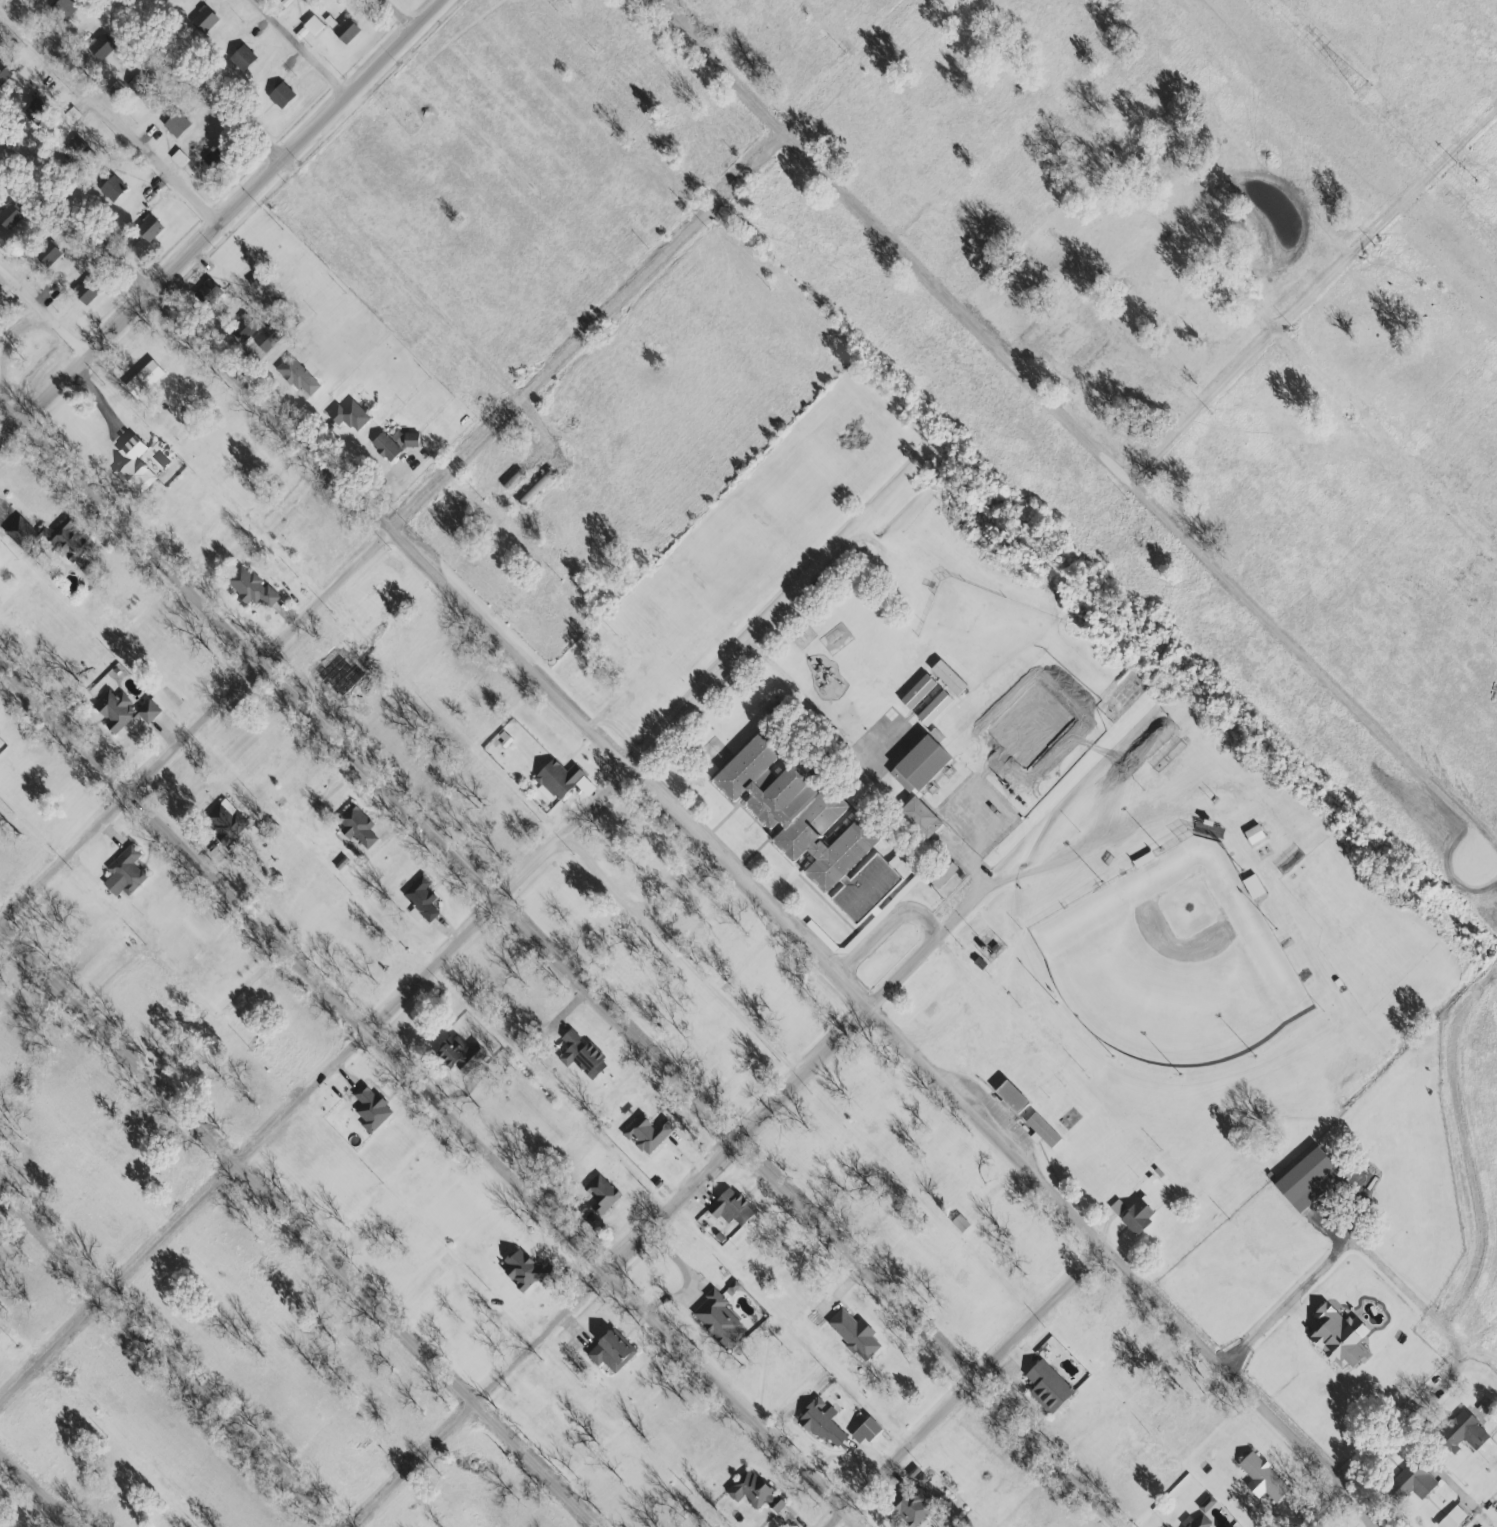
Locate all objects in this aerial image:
building: (302, 0)
building: (63, 8)
road: (400, 15)
building: (202, 19)
building: (329, 22)
building: (308, 27)
building: (345, 30)
building: (98, 47)
road: (300, 48)
building: (241, 57)
building: (3, 73)
building: (138, 82)
road: (200, 82)
power tower: (1362, 89)
building: (279, 94)
building: (34, 111)
road: (109, 116)
building: (174, 123)
building: (178, 158)
building: (110, 187)
building: (8, 215)
road: (222, 220)
building: (148, 229)
building: (45, 253)
building: (209, 291)
building: (84, 292)
road: (1306, 293)
road: (43, 312)
building: (266, 337)
building: (296, 376)
building: (142, 379)
building: (348, 415)
road: (1076, 429)
building: (409, 439)
building: (384, 446)
building: (132, 466)
building: (510, 480)
building: (533, 488)
road: (391, 528)
building: (48, 536)
building: (249, 586)
building: (121, 710)
building: (935, 734)
building: (503, 738)
building: (555, 779)
building: (919, 784)
building: (853, 791)
road: (671, 815)
building: (224, 822)
building: (355, 826)
building: (807, 827)
building: (1253, 834)
road: (1113, 835)
building: (123, 872)
building: (939, 872)
building: (1252, 887)
building: (420, 897)
road: (434, 964)
road: (563, 964)
building: (458, 1054)
building: (580, 1055)
road: (429, 1094)
building: (1010, 1096)
building: (369, 1109)
building: (1041, 1130)
building: (645, 1132)
road: (1323, 1138)
building: (1303, 1178)
road: (1468, 1189)
building: (600, 1193)
building: (729, 1206)
building: (1116, 1206)
road: (668, 1207)
building: (1136, 1215)
building: (959, 1222)
road: (298, 1226)
building: (522, 1270)
road: (1286, 1301)
building: (717, 1318)
building: (853, 1333)
building: (1338, 1336)
building: (609, 1351)
road: (165, 1358)
building: (1046, 1386)
road: (967, 1389)
building: (820, 1421)
building: (867, 1429)
building: (1461, 1432)
road: (1386, 1446)
building: (1261, 1477)
building: (1412, 1480)
road: (37, 1489)
building: (753, 1491)
building: (1205, 1503)
building: (909, 1504)
building: (1451, 1517)
park: (7, 1519)
building: (1196, 1522)
building: (1228, 1526)

